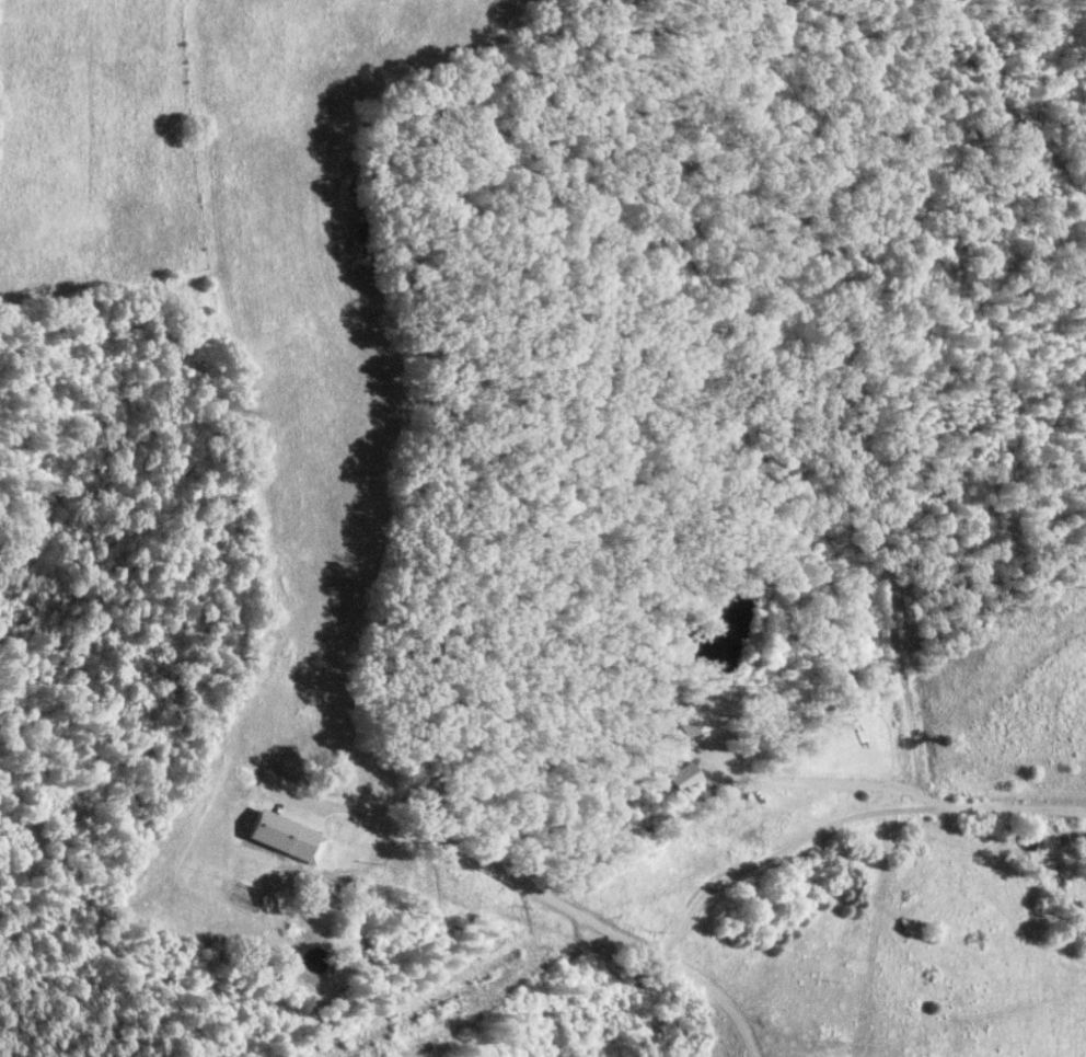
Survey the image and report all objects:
building: (690, 721)
building: (680, 778)
road: (901, 789)
building: (287, 837)

